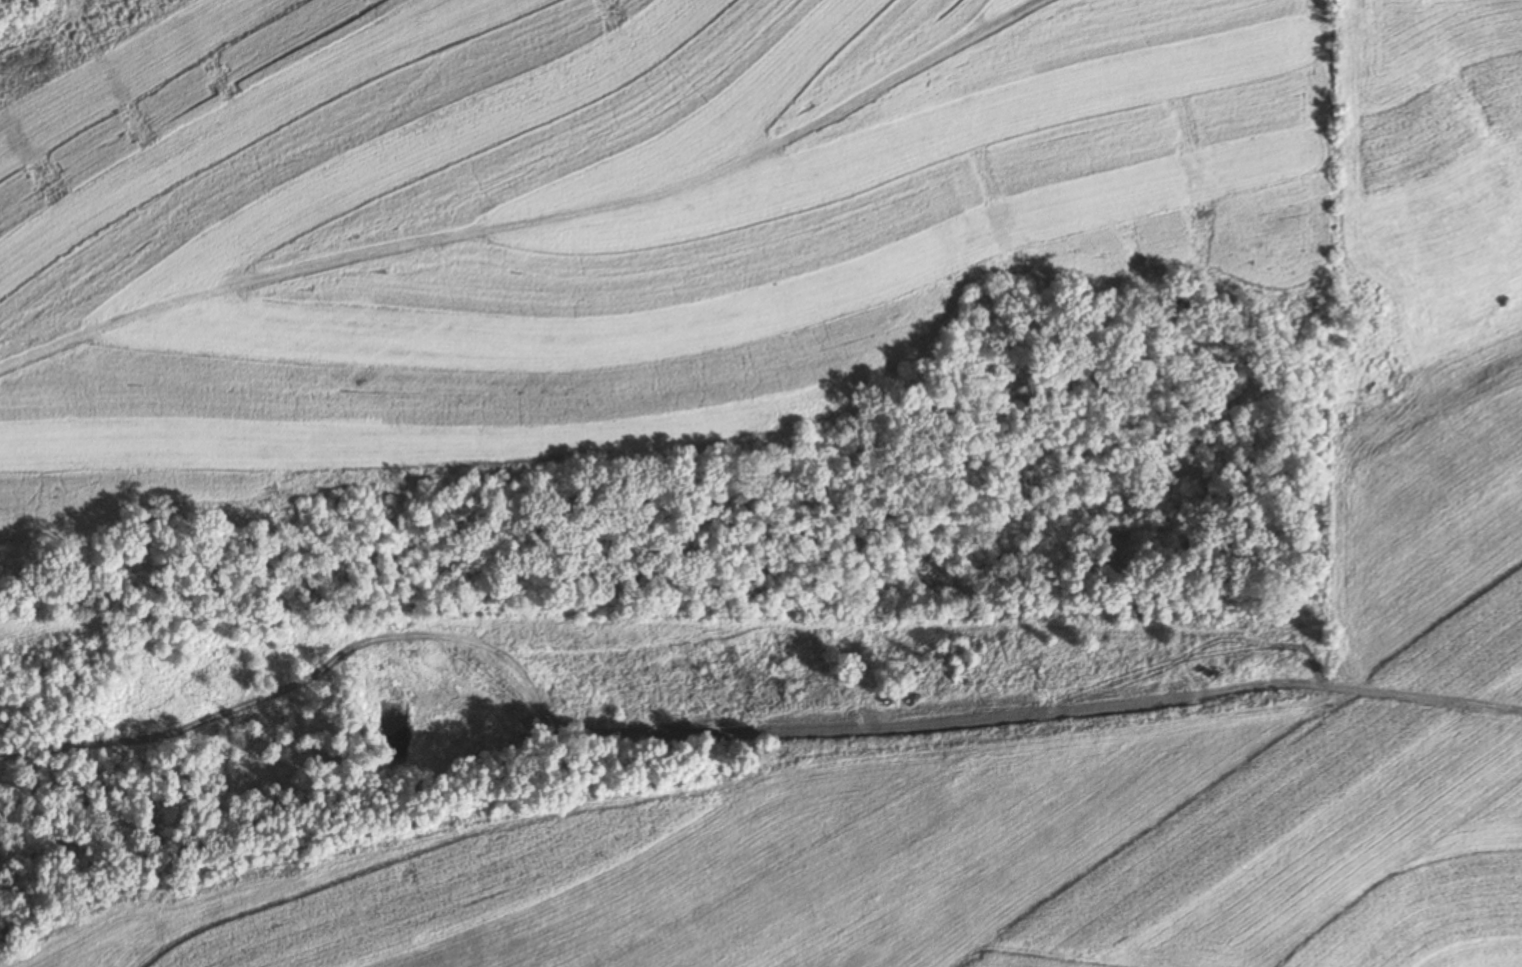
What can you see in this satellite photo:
road: (1513, 691)

